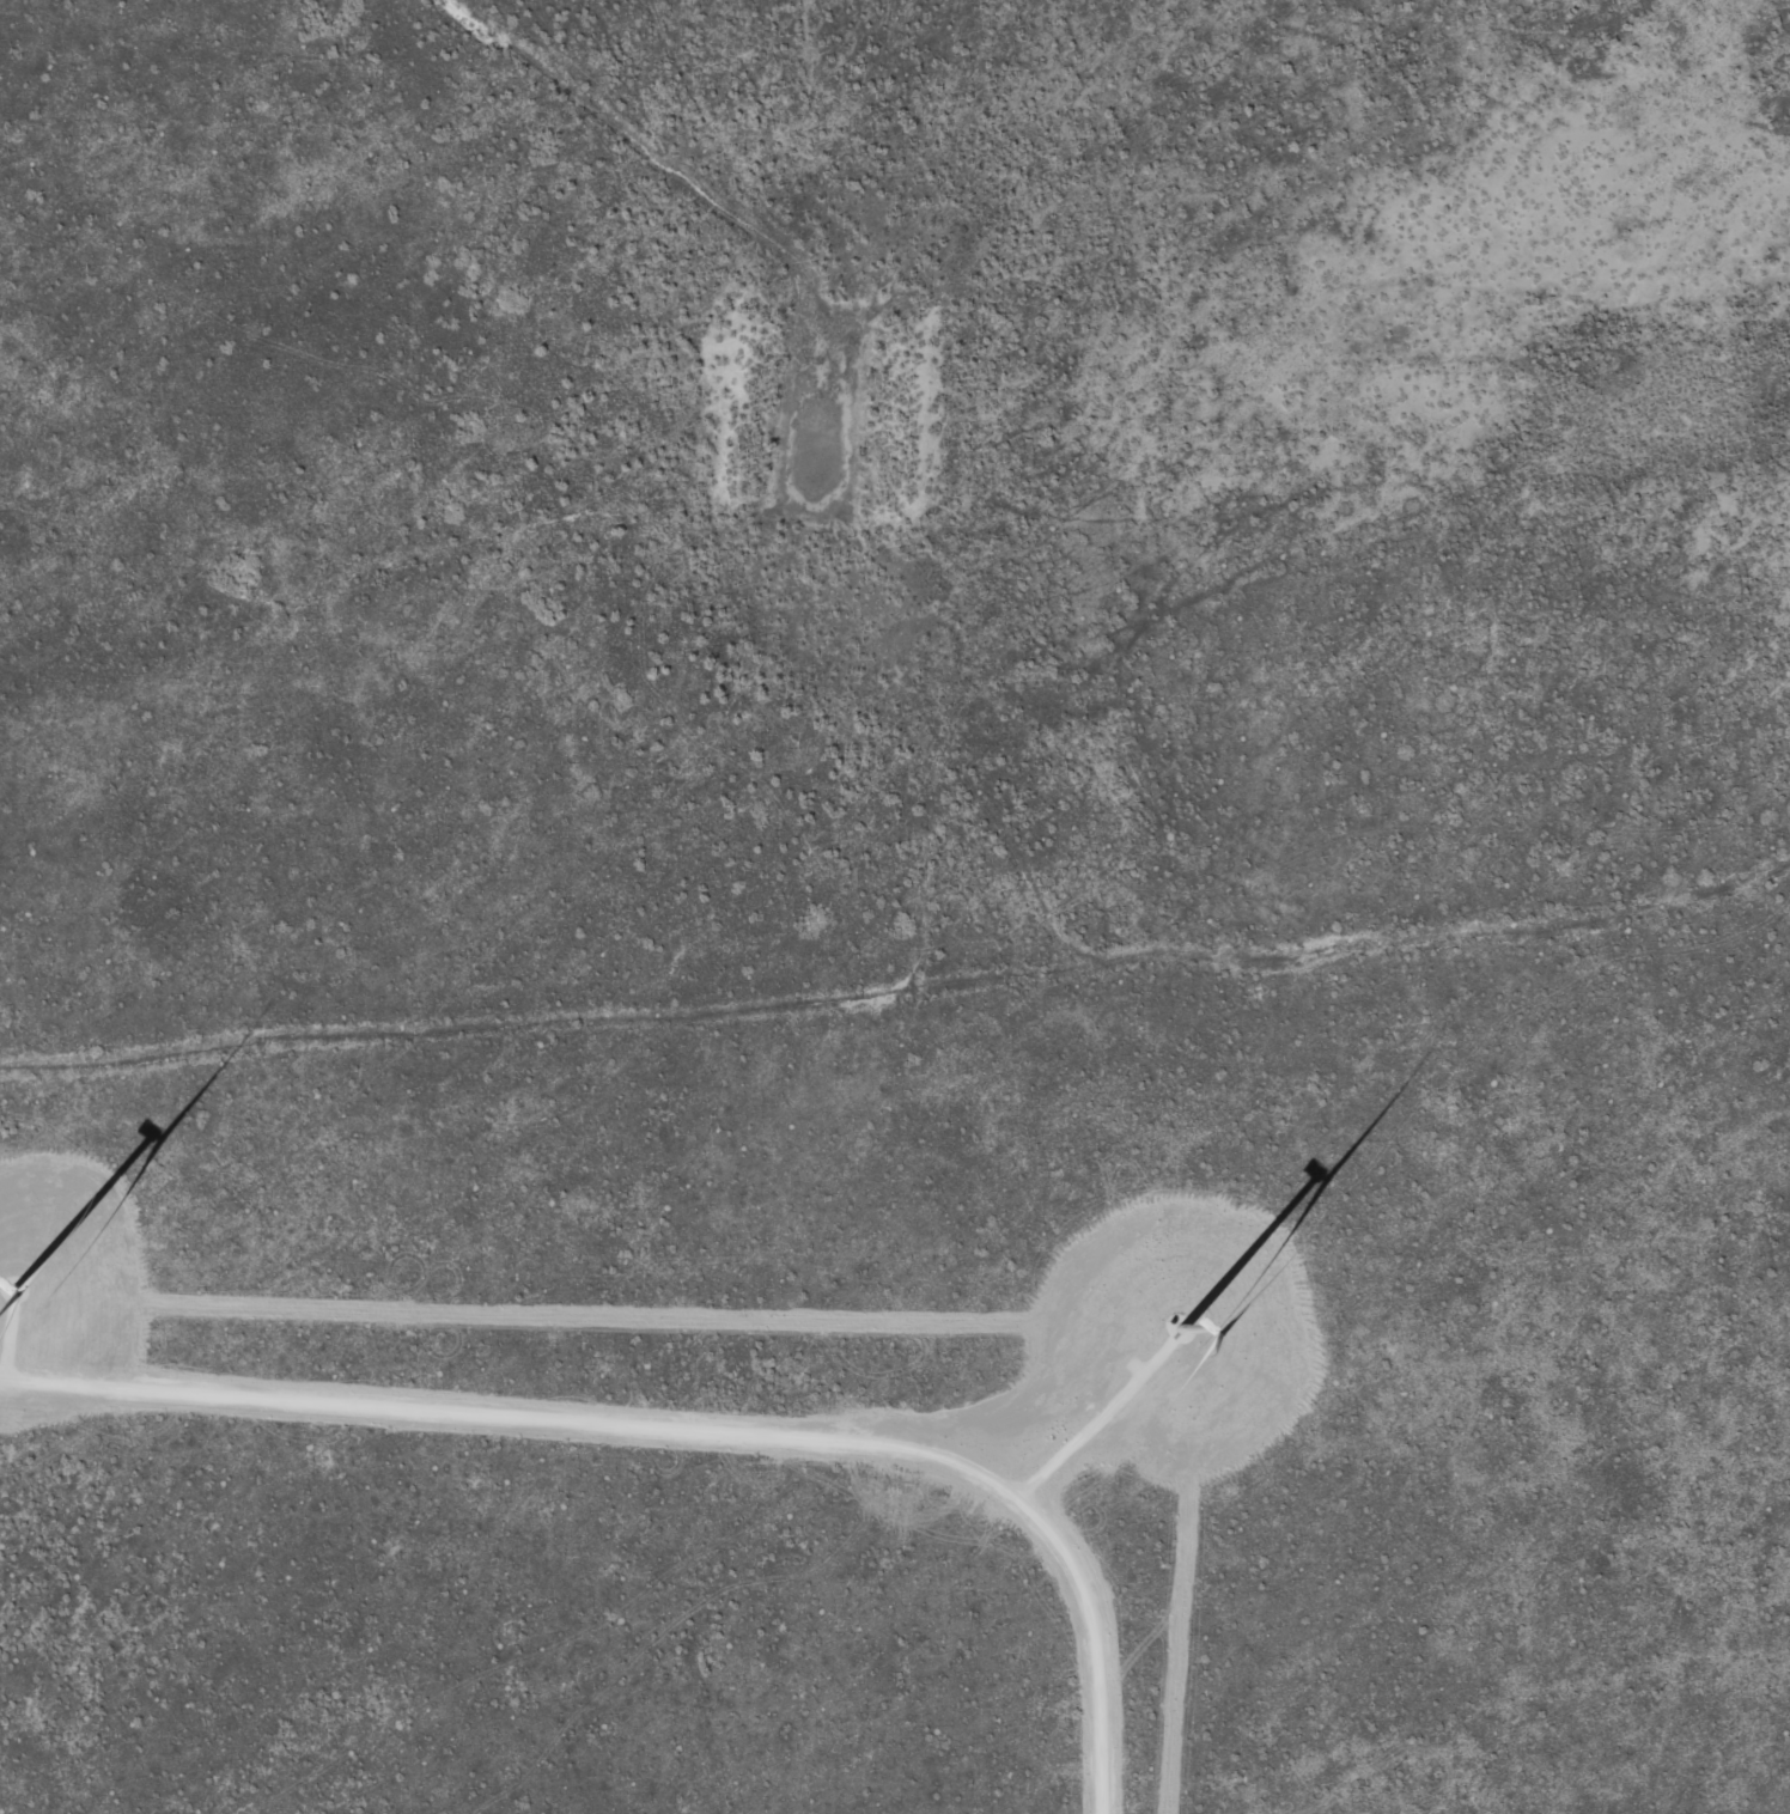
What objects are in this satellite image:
wind turbine: (14, 1292)
wind turbine: (1174, 1333)

